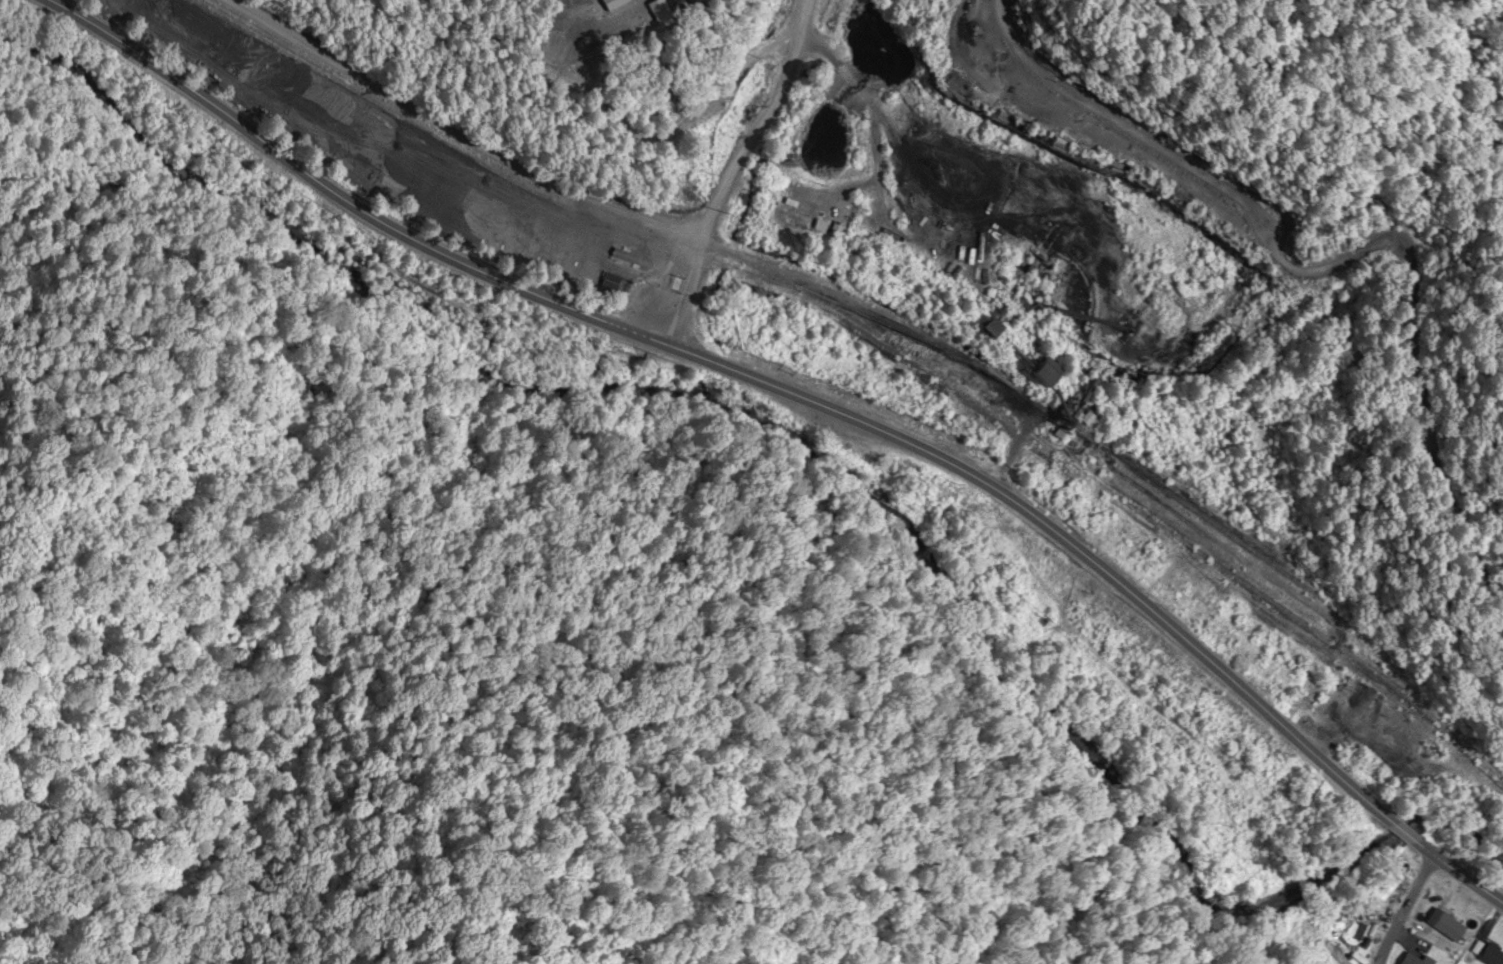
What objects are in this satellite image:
road: (1022, 95)
road: (454, 132)
road: (96, 146)
road: (728, 167)
building: (792, 220)
railway: (879, 344)
road: (802, 398)
road: (1398, 906)
building: (1441, 926)
building: (1482, 950)
building: (1409, 960)

